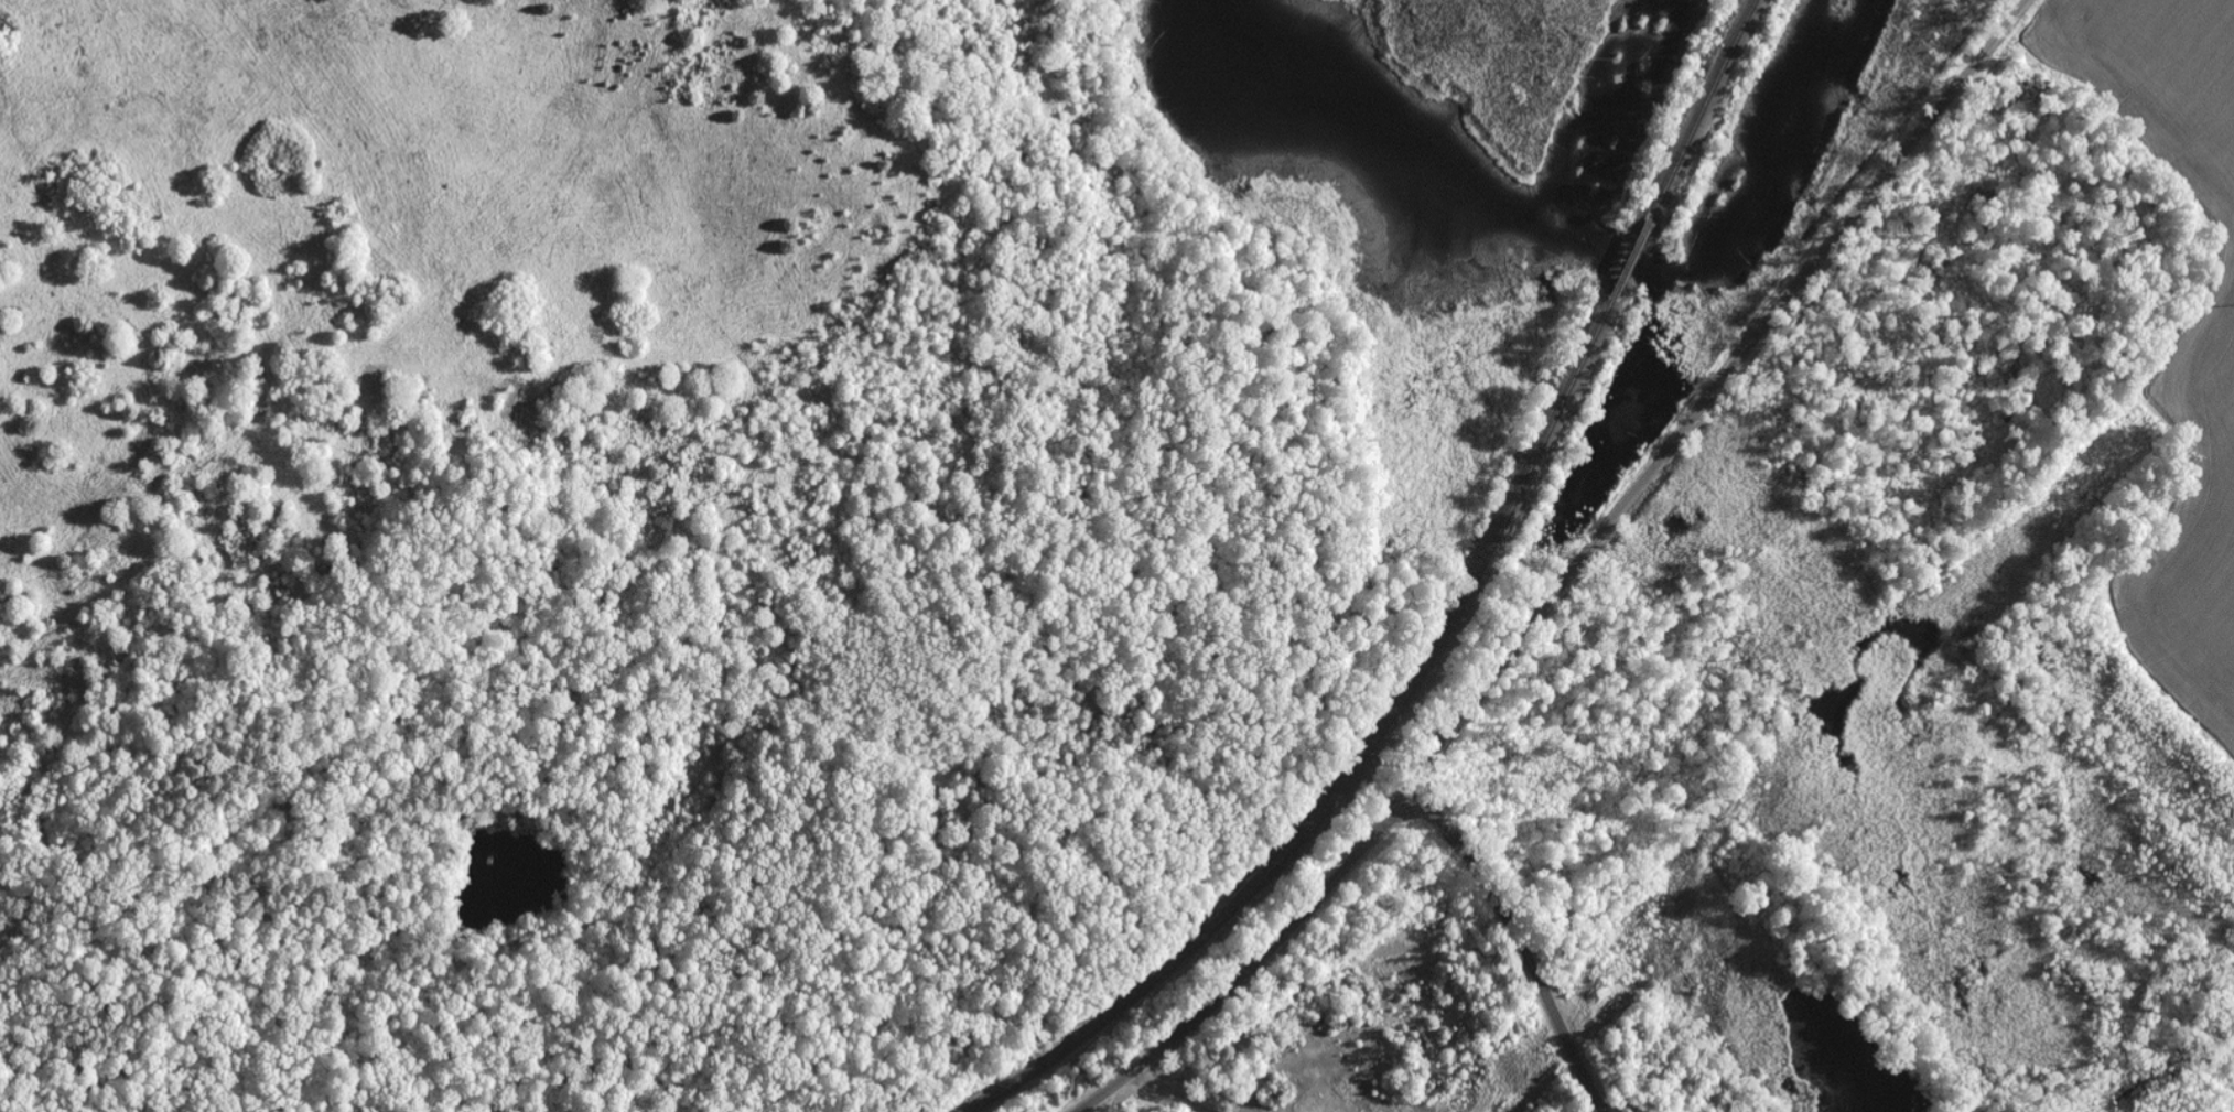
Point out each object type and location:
railway: (1699, 117)
railway: (1629, 263)
road: (1702, 408)
railway: (1348, 765)
road: (1515, 935)
road: (1239, 976)

